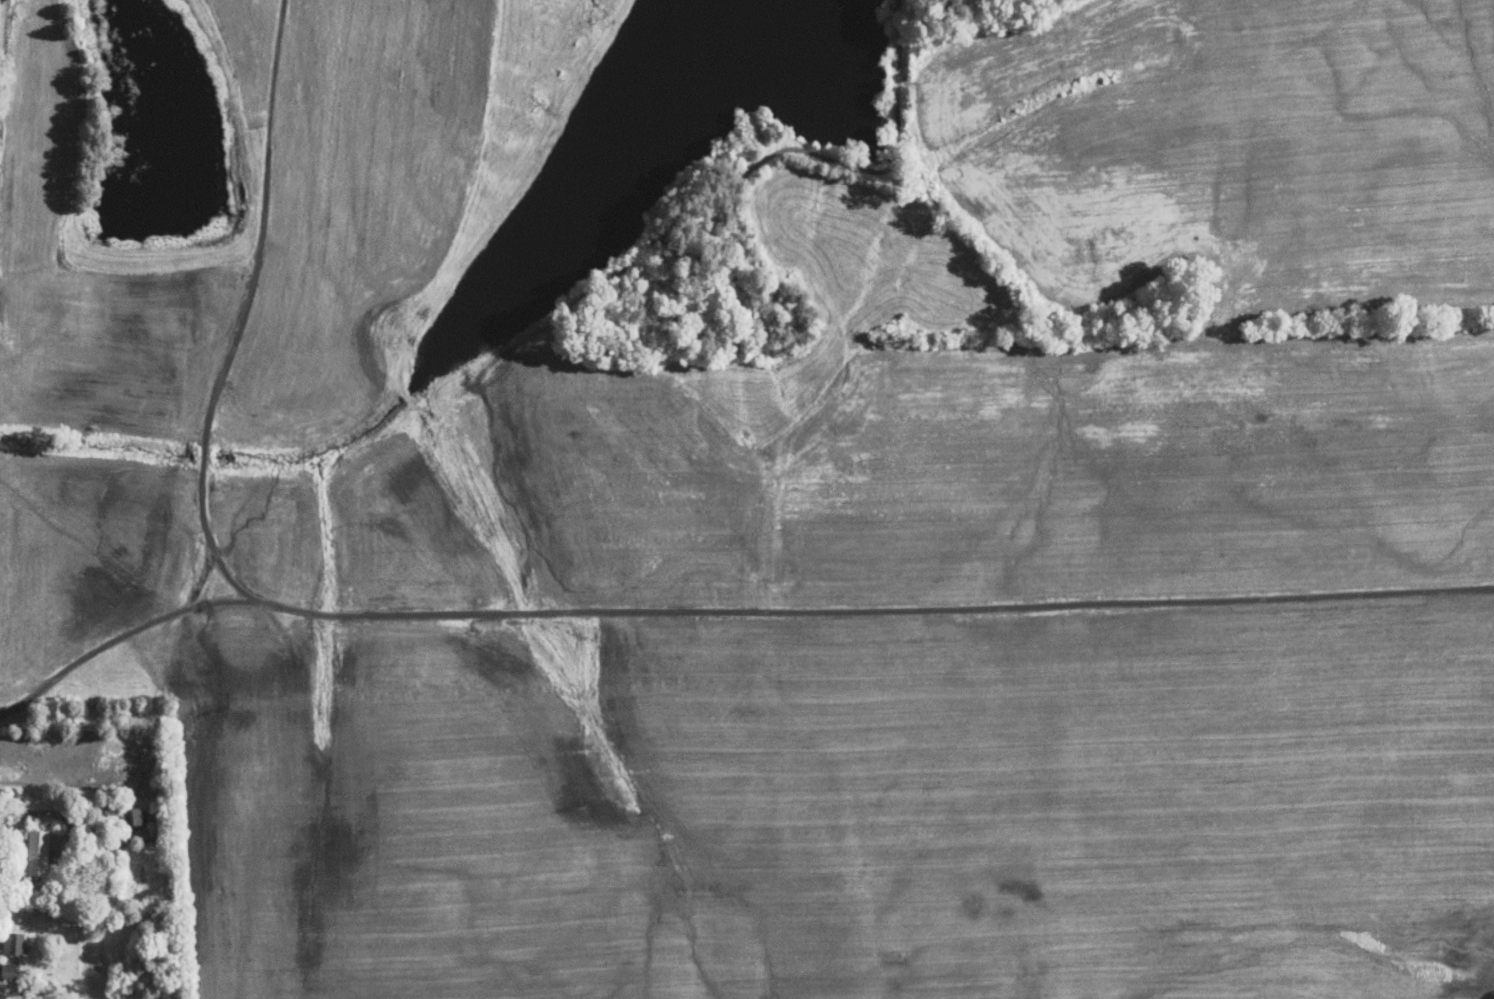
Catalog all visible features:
building: (125, 810)
road: (50, 812)
building: (26, 846)
road: (10, 960)

